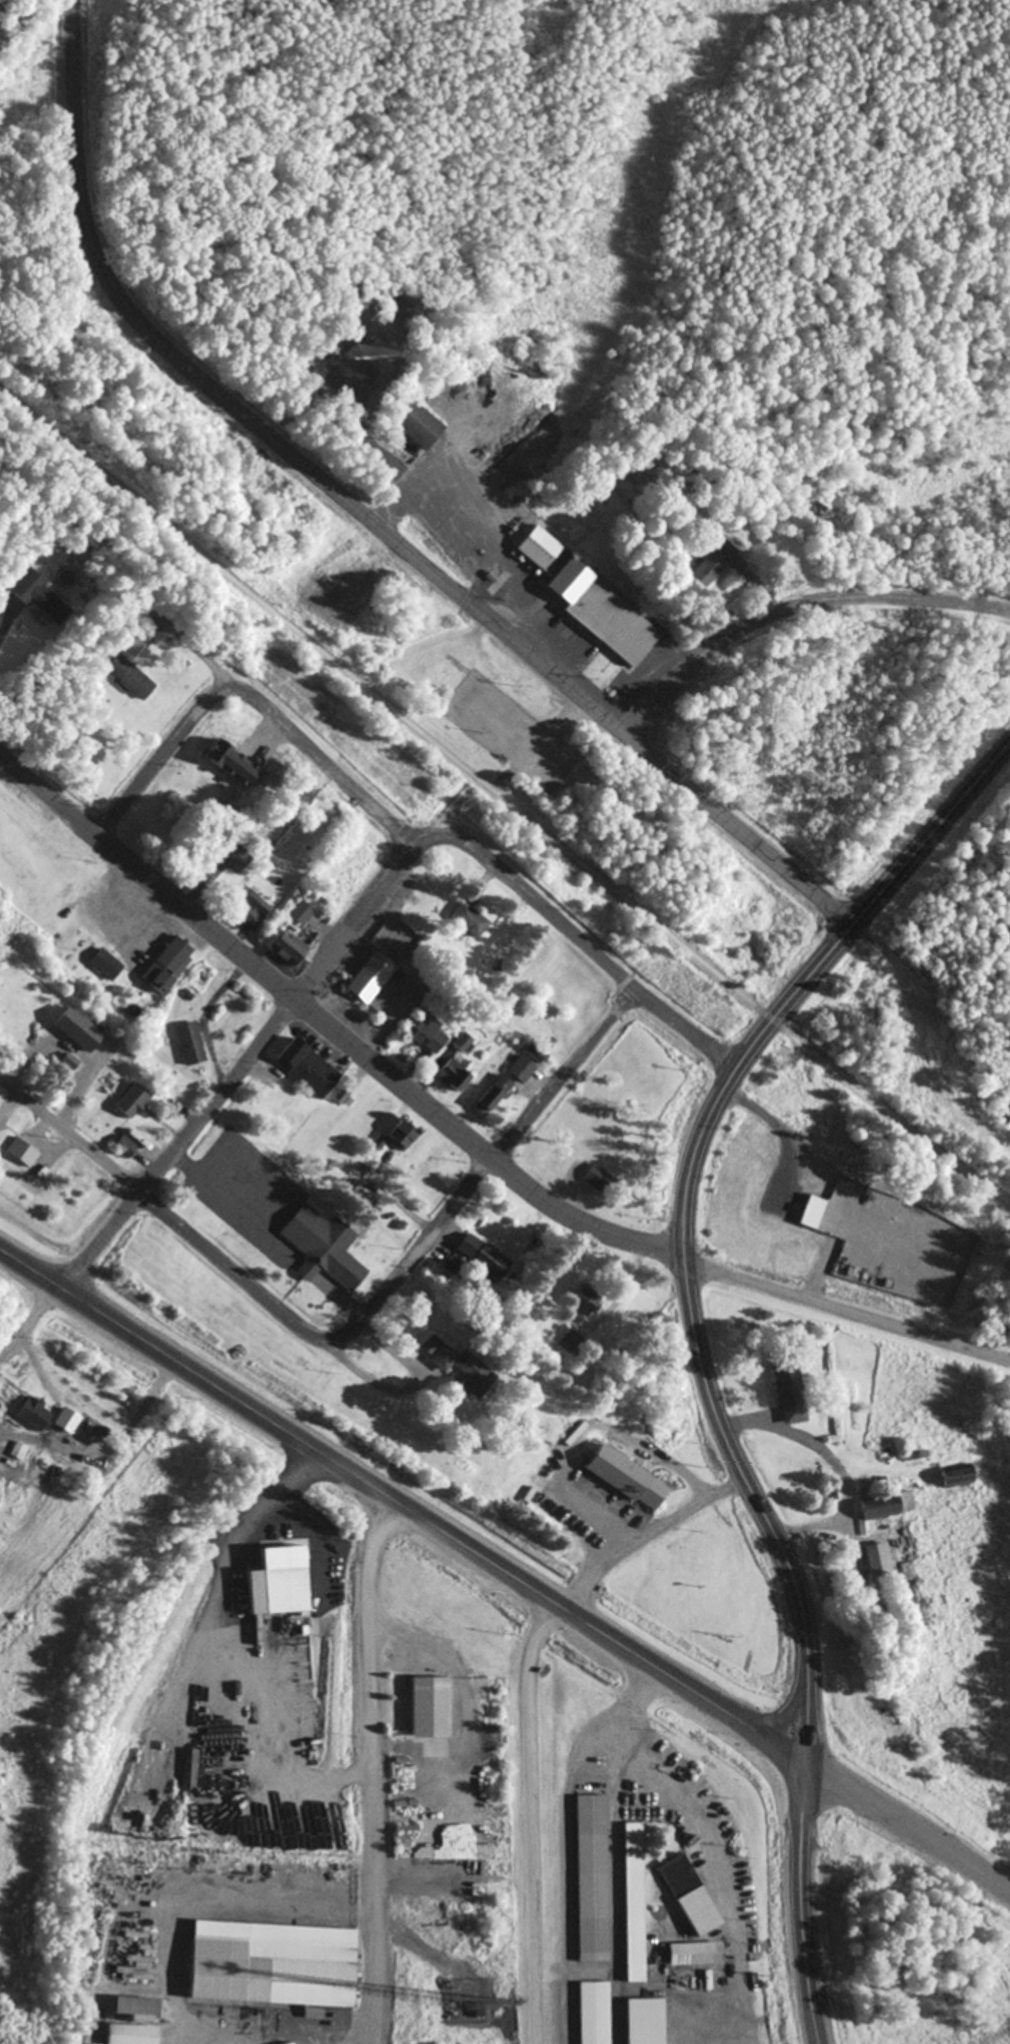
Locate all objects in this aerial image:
park: (587, 336)
building: (413, 426)
building: (818, 513)
road: (365, 516)
building: (710, 565)
building: (38, 597)
building: (587, 600)
road: (794, 606)
building: (127, 677)
road: (167, 748)
building: (215, 754)
road: (503, 797)
road: (102, 825)
road: (489, 862)
road: (364, 905)
building: (247, 908)
building: (299, 913)
building: (467, 920)
building: (285, 948)
building: (103, 964)
building: (166, 964)
building: (369, 977)
building: (200, 978)
building: (423, 1034)
building: (461, 1042)
building: (189, 1043)
building: (305, 1067)
building: (520, 1069)
building: (450, 1074)
building: (489, 1096)
building: (131, 1101)
building: (372, 1117)
building: (0, 1129)
road: (186, 1133)
building: (398, 1135)
road: (463, 1135)
building: (20, 1152)
road: (485, 1164)
building: (565, 1169)
building: (594, 1177)
building: (875, 1179)
building: (862, 1206)
road: (165, 1214)
building: (321, 1247)
building: (480, 1256)
building: (580, 1300)
building: (568, 1343)
road: (697, 1347)
building: (458, 1367)
building: (788, 1393)
building: (33, 1415)
building: (16, 1451)
building: (624, 1478)
building: (954, 1478)
building: (884, 1505)
building: (876, 1559)
road: (503, 1572)
building: (427, 1708)
building: (676, 1877)
building: (589, 1878)
building: (692, 1955)
building: (139, 1959)
building: (296, 1976)
building: (133, 2007)
building: (658, 2025)
building: (127, 2034)

